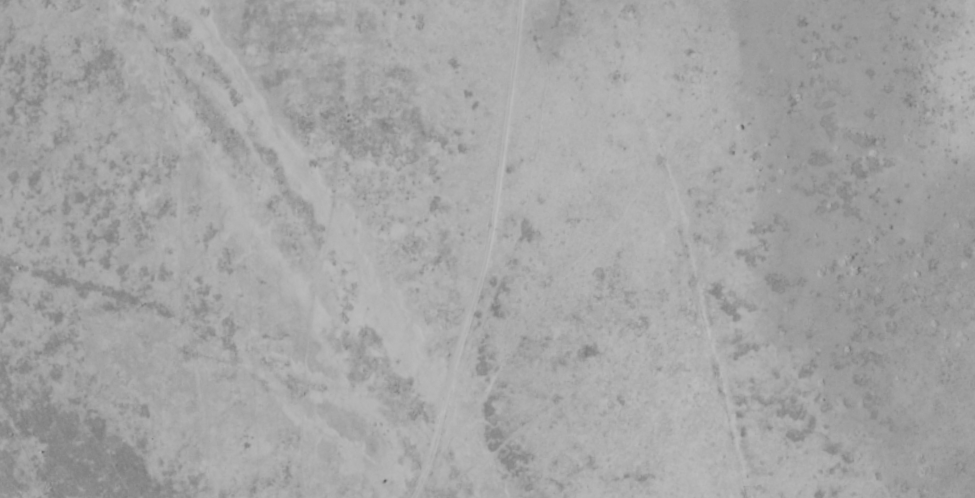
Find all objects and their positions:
road: (662, 239)

